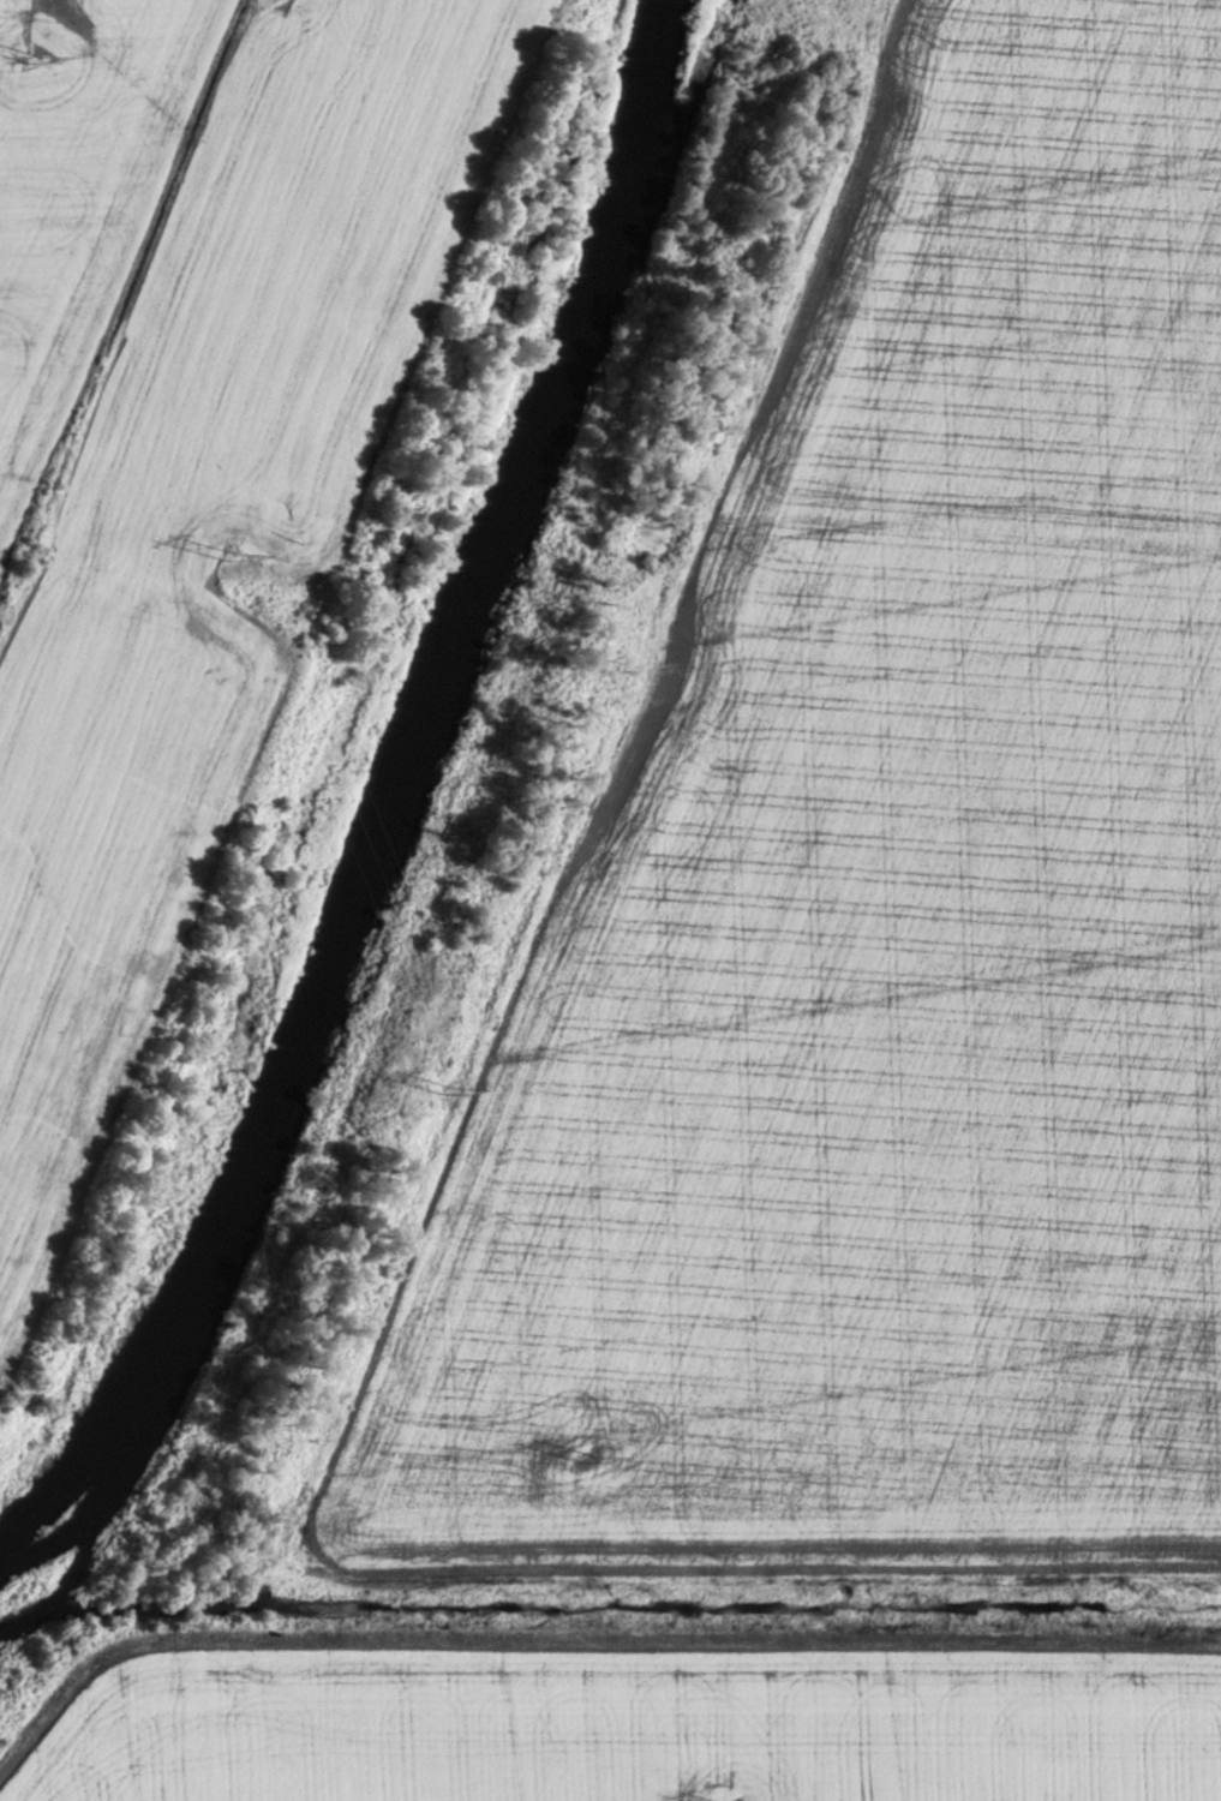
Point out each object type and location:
power tower: (32, 56)
power tower: (229, 552)
river: (389, 803)
power tower: (442, 1087)
power tower: (587, 1455)

